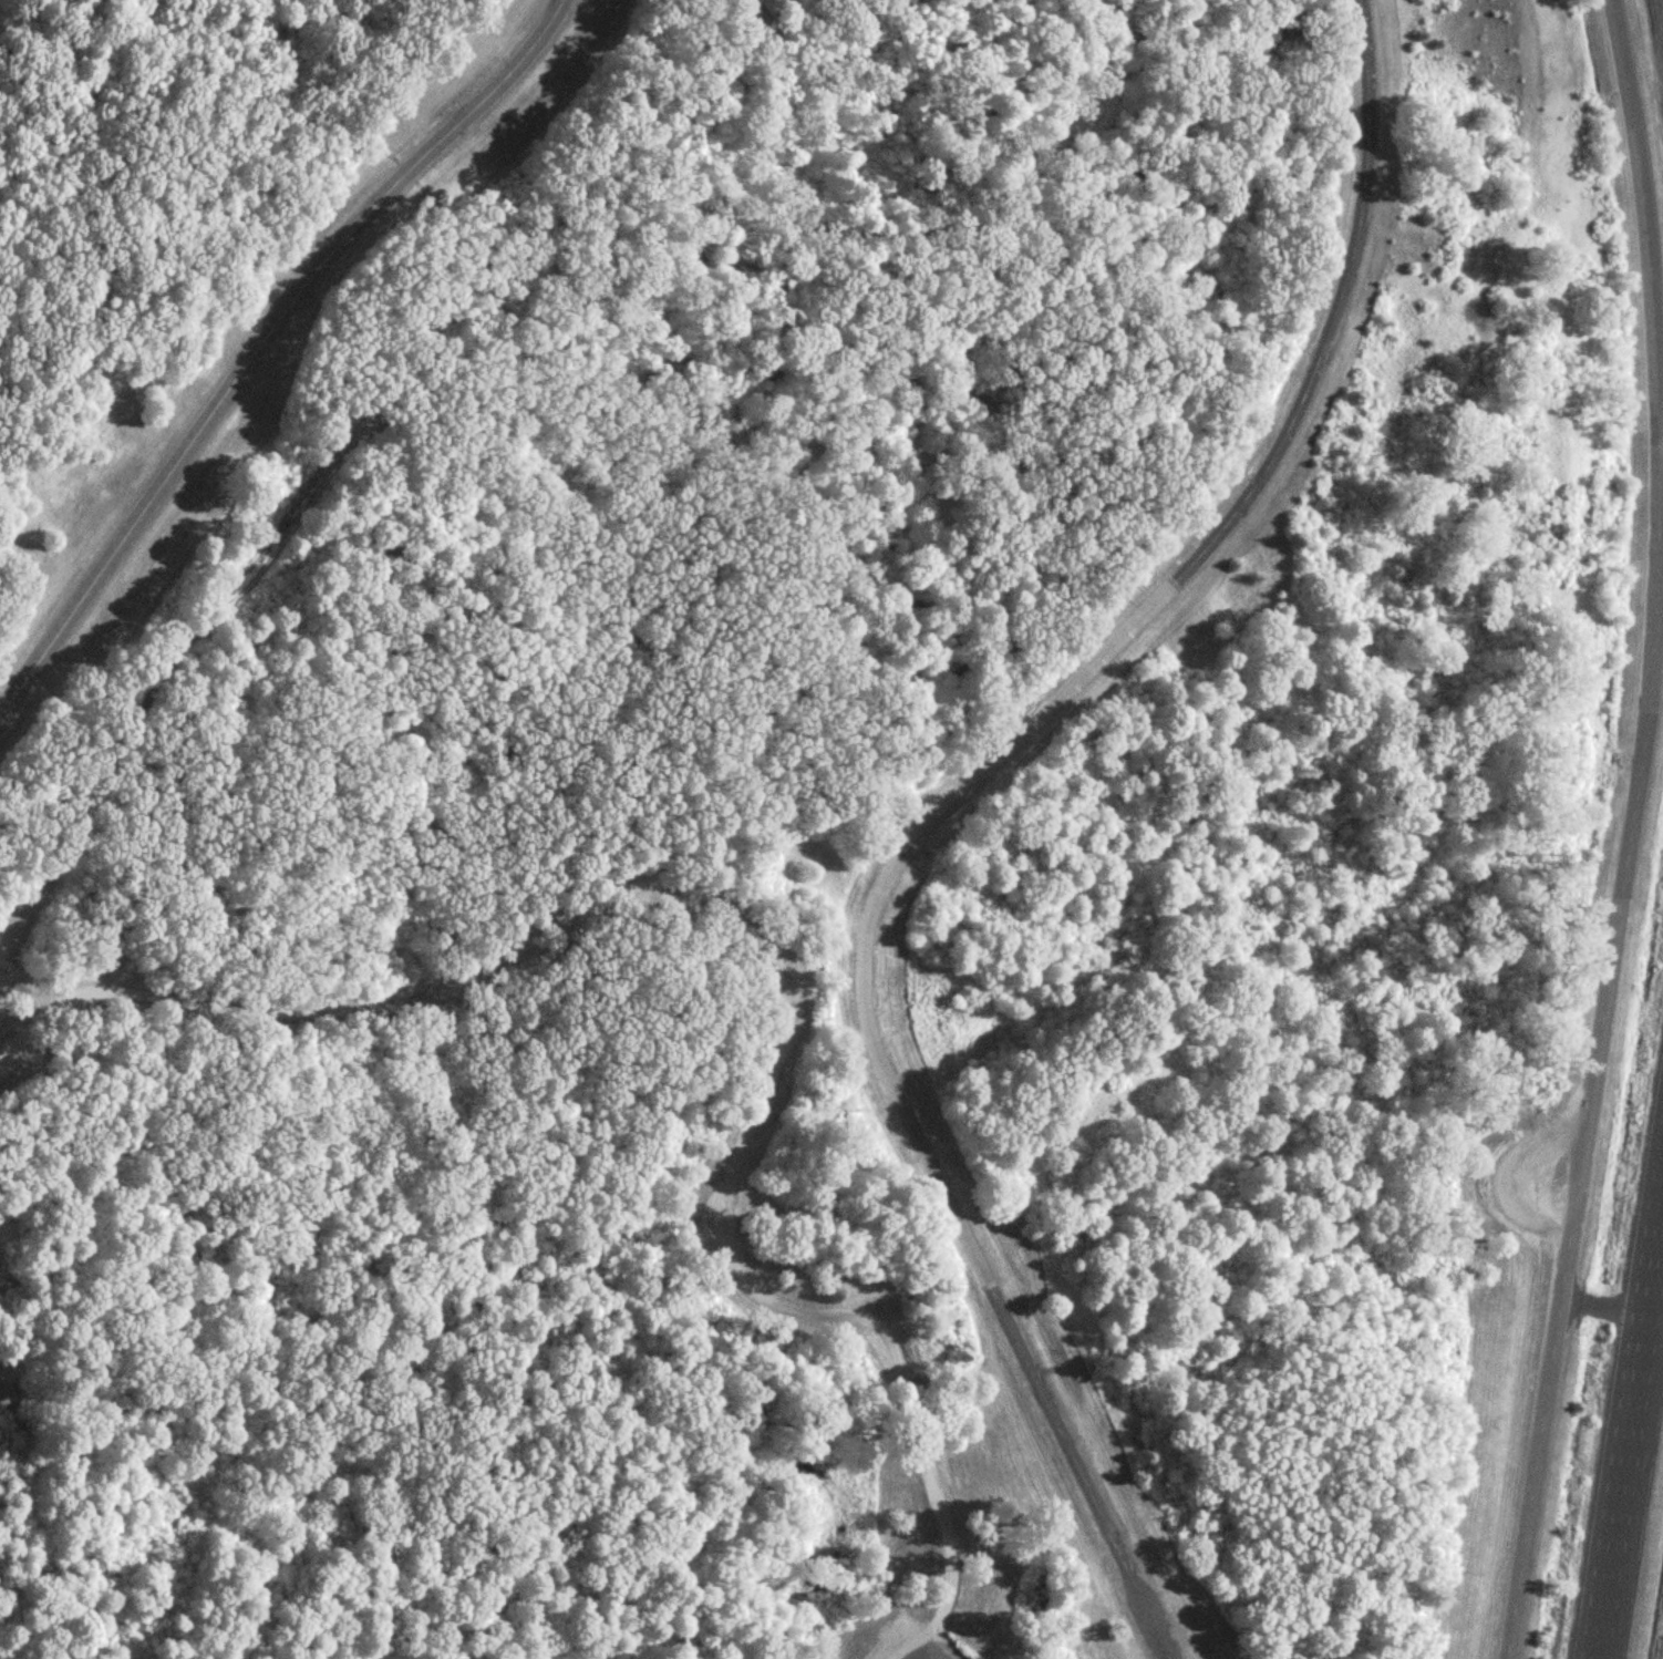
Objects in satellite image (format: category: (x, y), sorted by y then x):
raceway: (264, 341)
road: (1660, 647)
road: (949, 803)
raceway: (1631, 831)
road: (772, 949)
road: (14, 1020)
raceway: (1633, 1454)
road: (939, 1650)

